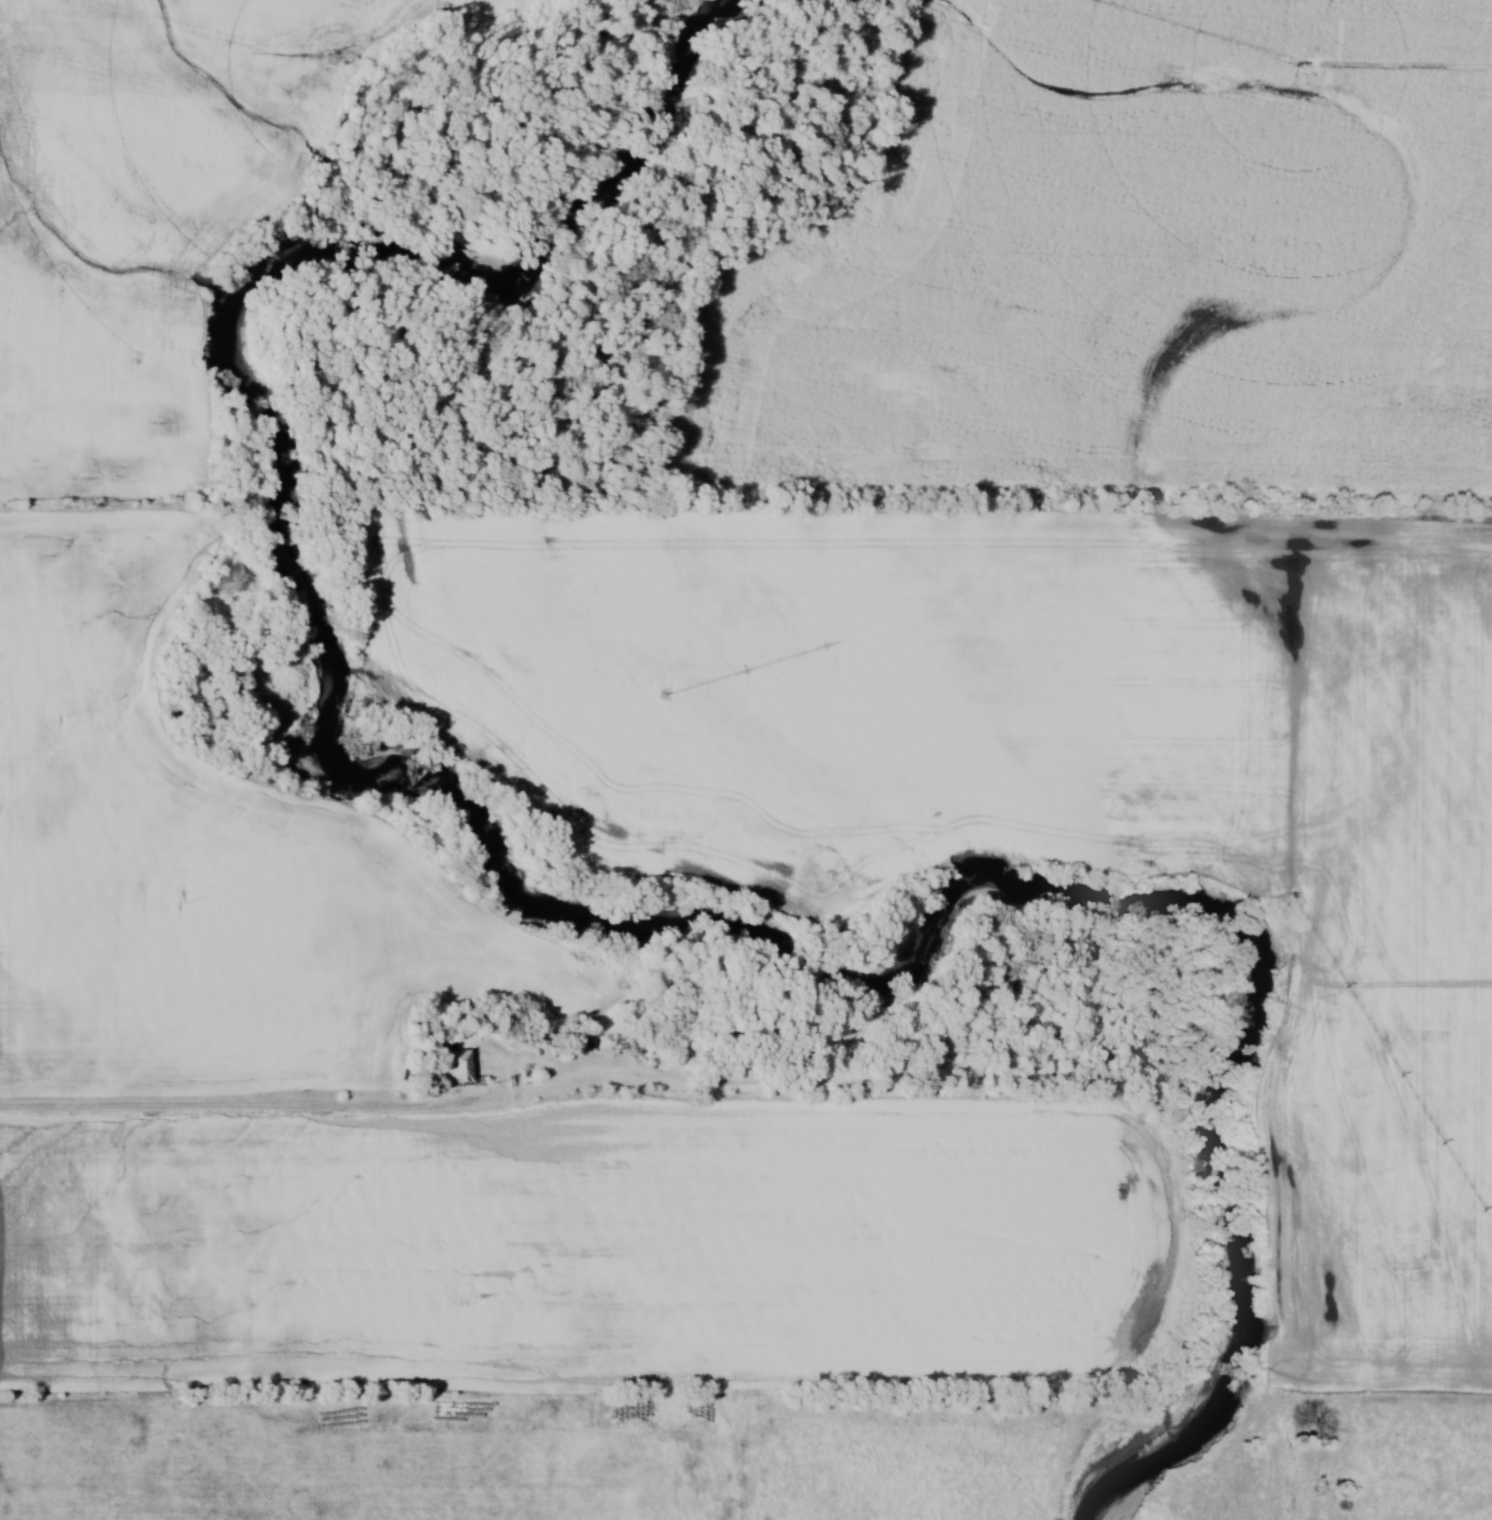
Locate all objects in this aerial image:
building: (457, 1066)
road: (245, 1103)

